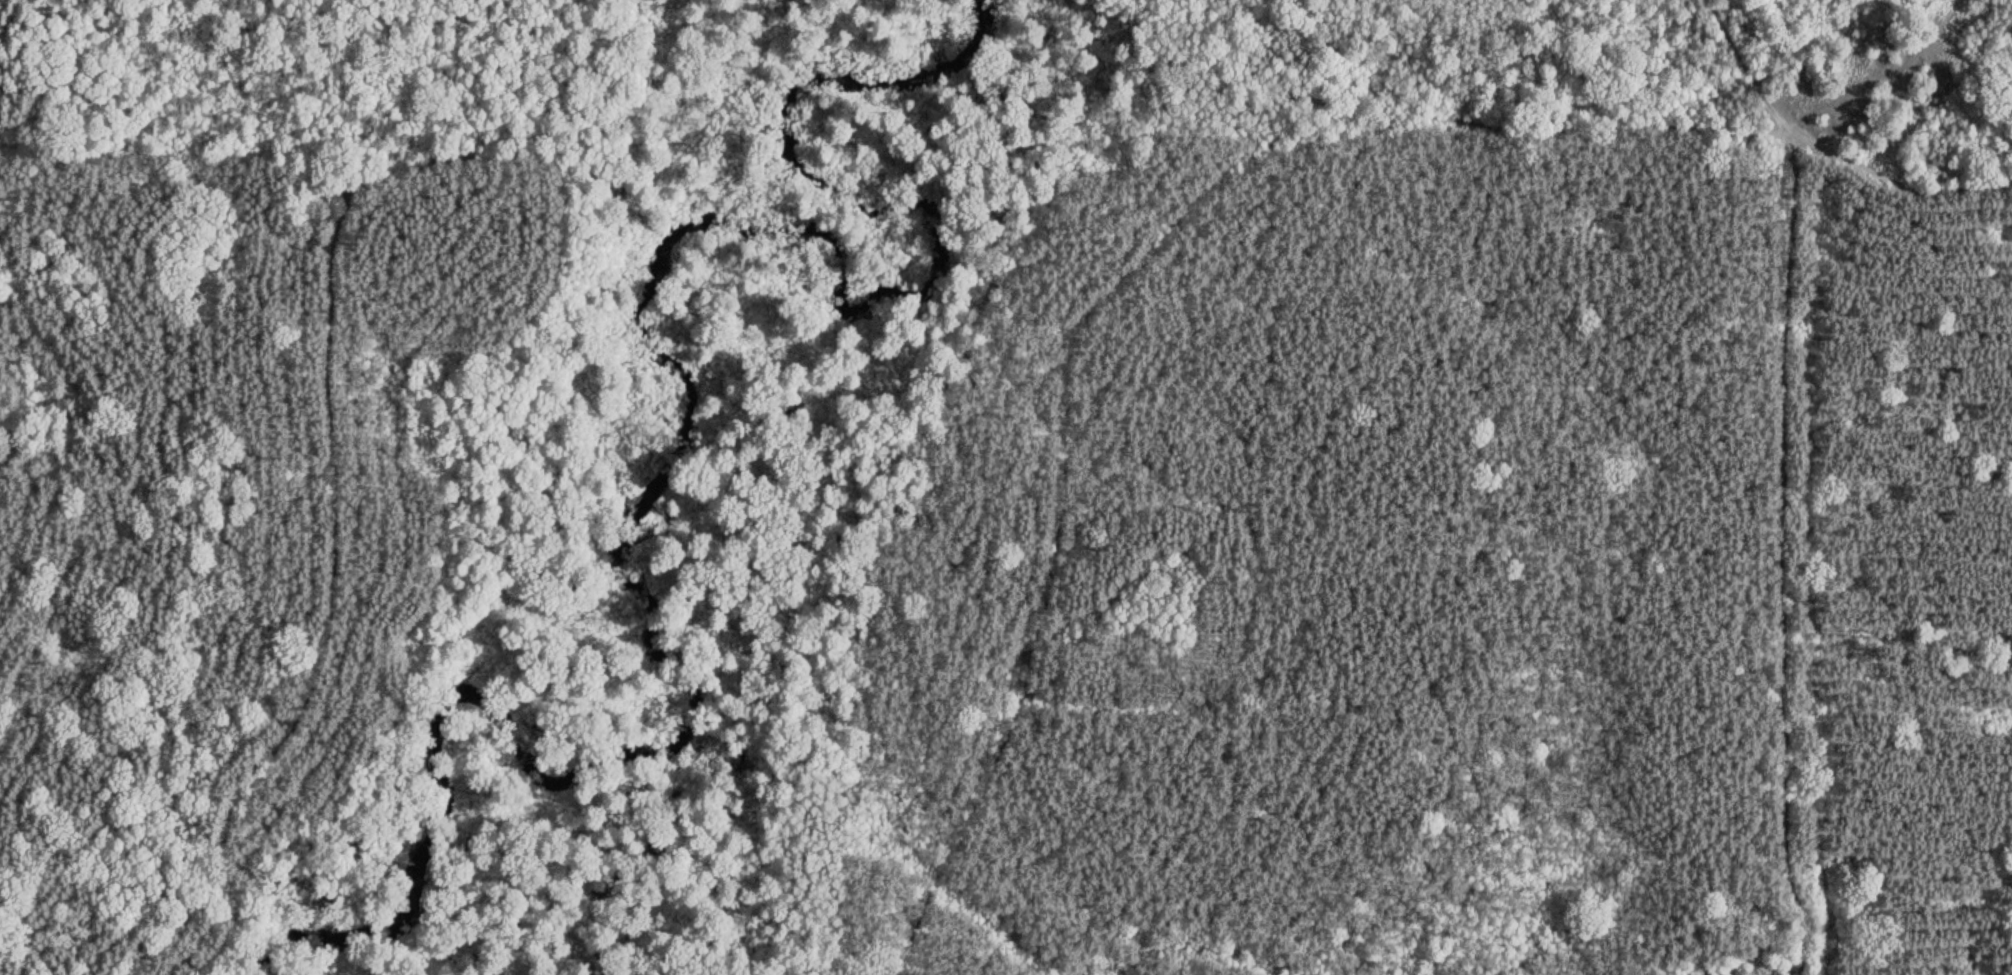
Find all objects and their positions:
road: (1171, 175)
road: (57, 873)

